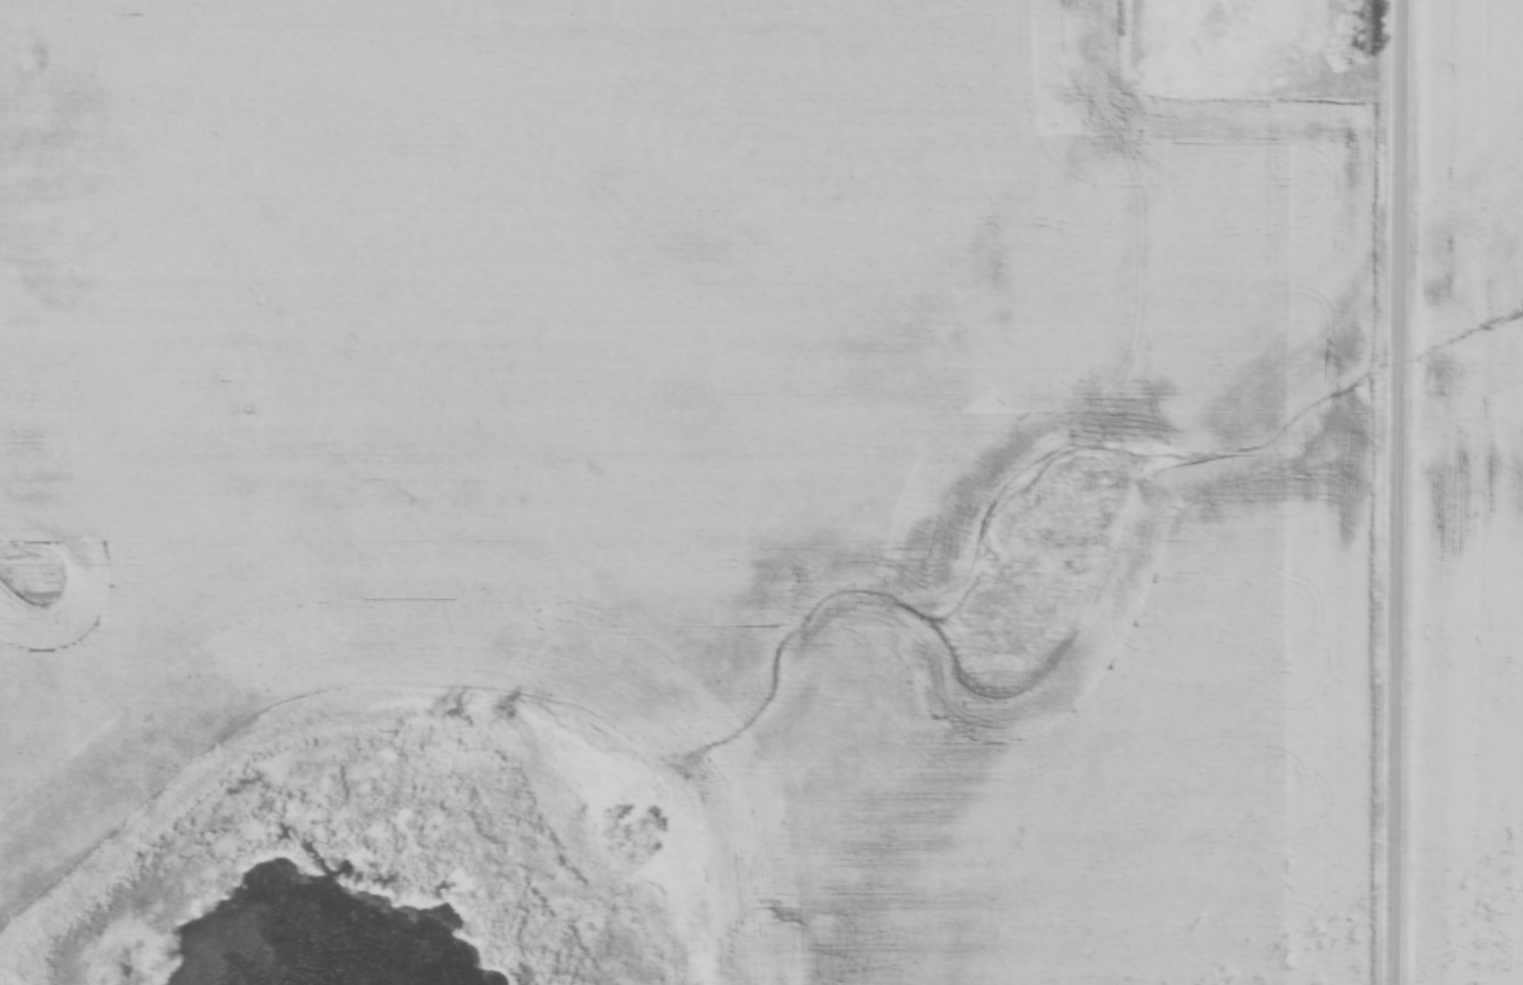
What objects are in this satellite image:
road: (1401, 492)

